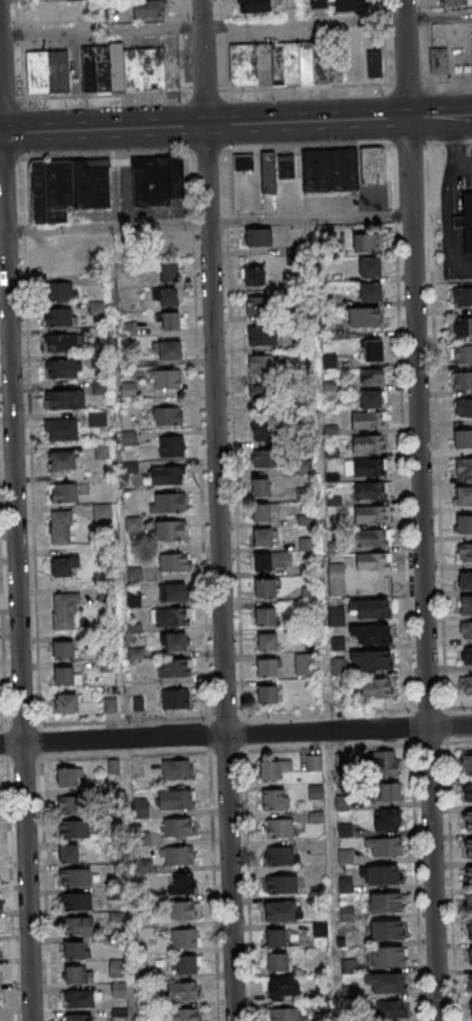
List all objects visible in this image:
building: (452, 2)
building: (350, 6)
building: (253, 7)
building: (146, 8)
building: (51, 12)
road: (236, 25)
road: (184, 45)
building: (439, 61)
building: (280, 65)
building: (374, 65)
building: (123, 69)
building: (48, 73)
road: (235, 88)
road: (235, 123)
road: (452, 148)
building: (244, 161)
building: (373, 165)
building: (286, 166)
building: (331, 170)
building: (268, 172)
building: (157, 180)
building: (67, 188)
building: (466, 220)
road: (206, 223)
building: (257, 236)
building: (366, 242)
building: (59, 264)
building: (370, 268)
building: (169, 272)
building: (253, 275)
building: (61, 291)
building: (370, 293)
building: (168, 296)
building: (461, 297)
building: (258, 304)
building: (59, 316)
building: (363, 316)
building: (169, 320)
building: (462, 327)
building: (261, 335)
building: (60, 342)
building: (167, 349)
building: (371, 350)
building: (461, 355)
building: (266, 363)
building: (62, 368)
building: (373, 376)
building: (164, 379)
building: (461, 381)
building: (263, 395)
building: (372, 398)
building: (64, 399)
building: (463, 407)
building: (166, 416)
building: (372, 419)
building: (99, 420)
building: (61, 429)
building: (264, 430)
building: (462, 438)
building: (373, 443)
building: (171, 446)
building: (101, 451)
building: (265, 458)
building: (61, 460)
building: (374, 466)
building: (463, 467)
building: (303, 468)
building: (168, 475)
building: (263, 487)
building: (376, 490)
building: (63, 492)
building: (463, 497)
building: (167, 502)
road: (19, 510)
road: (221, 510)
road: (423, 510)
building: (267, 511)
building: (102, 513)
building: (376, 513)
building: (132, 523)
building: (464, 524)
building: (60, 527)
building: (170, 530)
building: (267, 537)
building: (377, 537)
building: (464, 553)
building: (267, 561)
building: (376, 561)
building: (173, 562)
building: (62, 565)
building: (336, 579)
building: (465, 581)
building: (269, 587)
building: (174, 591)
building: (66, 604)
building: (465, 605)
building: (368, 608)
building: (172, 616)
building: (269, 616)
building: (465, 629)
building: (377, 632)
building: (177, 641)
building: (271, 642)
building: (337, 643)
building: (63, 650)
building: (465, 655)
building: (371, 661)
building: (305, 663)
building: (338, 666)
building: (174, 667)
building: (268, 667)
building: (65, 676)
building: (466, 684)
building: (376, 689)
building: (266, 694)
building: (175, 698)
building: (66, 703)
building: (110, 704)
road: (235, 732)
building: (313, 762)
building: (384, 764)
building: (469, 764)
building: (273, 768)
building: (177, 769)
building: (69, 776)
building: (315, 791)
building: (388, 793)
building: (469, 793)
building: (174, 799)
building: (275, 799)
building: (69, 805)
building: (140, 808)
building: (315, 816)
building: (386, 820)
building: (470, 821)
building: (177, 827)
building: (73, 828)
building: (276, 828)
building: (391, 847)
building: (471, 849)
building: (67, 852)
building: (178, 855)
building: (282, 855)
building: (349, 857)
building: (386, 875)
building: (74, 876)
building: (471, 876)
building: (183, 883)
building: (280, 884)
building: (74, 901)
building: (389, 903)
building: (469, 903)
building: (183, 910)
building: (279, 911)
building: (80, 924)
building: (469, 930)
building: (389, 931)
building: (275, 937)
building: (184, 938)
building: (73, 949)
building: (470, 956)
building: (390, 957)
building: (277, 961)
building: (184, 964)
building: (117, 967)
building: (77, 974)
building: (391, 983)
building: (470, 983)
building: (283, 987)
building: (184, 991)
building: (81, 997)
building: (392, 1009)
building: (471, 1009)
building: (183, 1014)
building: (285, 1014)
building: (78, 1017)

